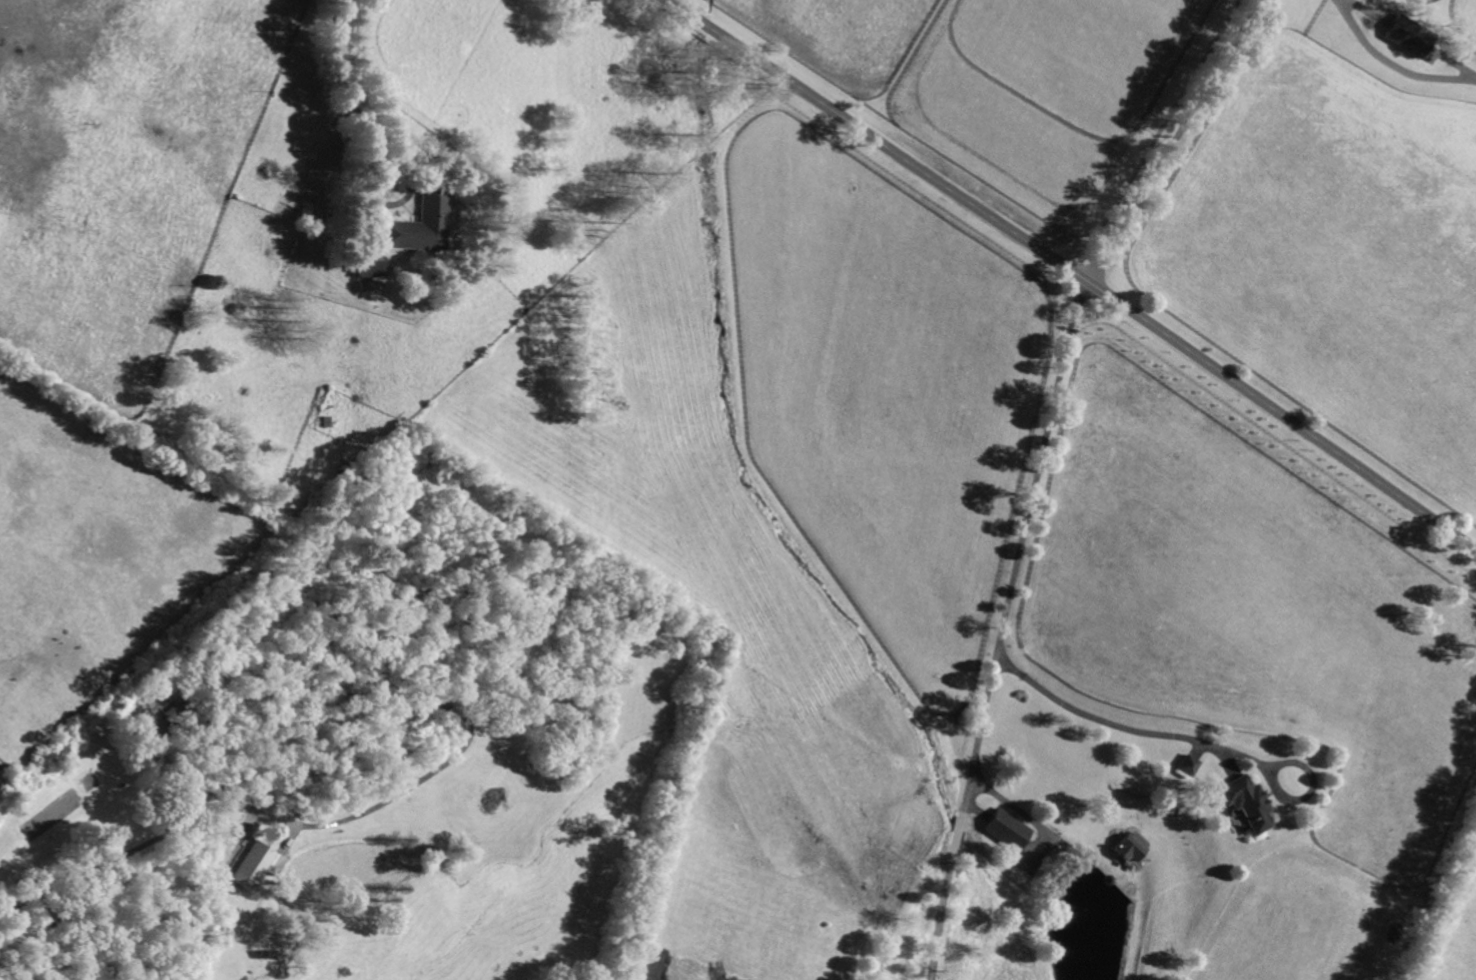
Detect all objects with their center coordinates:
building: (1409, 37)
road: (1392, 65)
road: (355, 93)
road: (1179, 142)
building: (419, 226)
road: (1074, 272)
road: (1002, 628)
road: (1141, 731)
building: (1188, 764)
building: (1246, 801)
road: (1010, 804)
building: (1008, 829)
road: (142, 842)
building: (1133, 846)
building: (253, 864)

